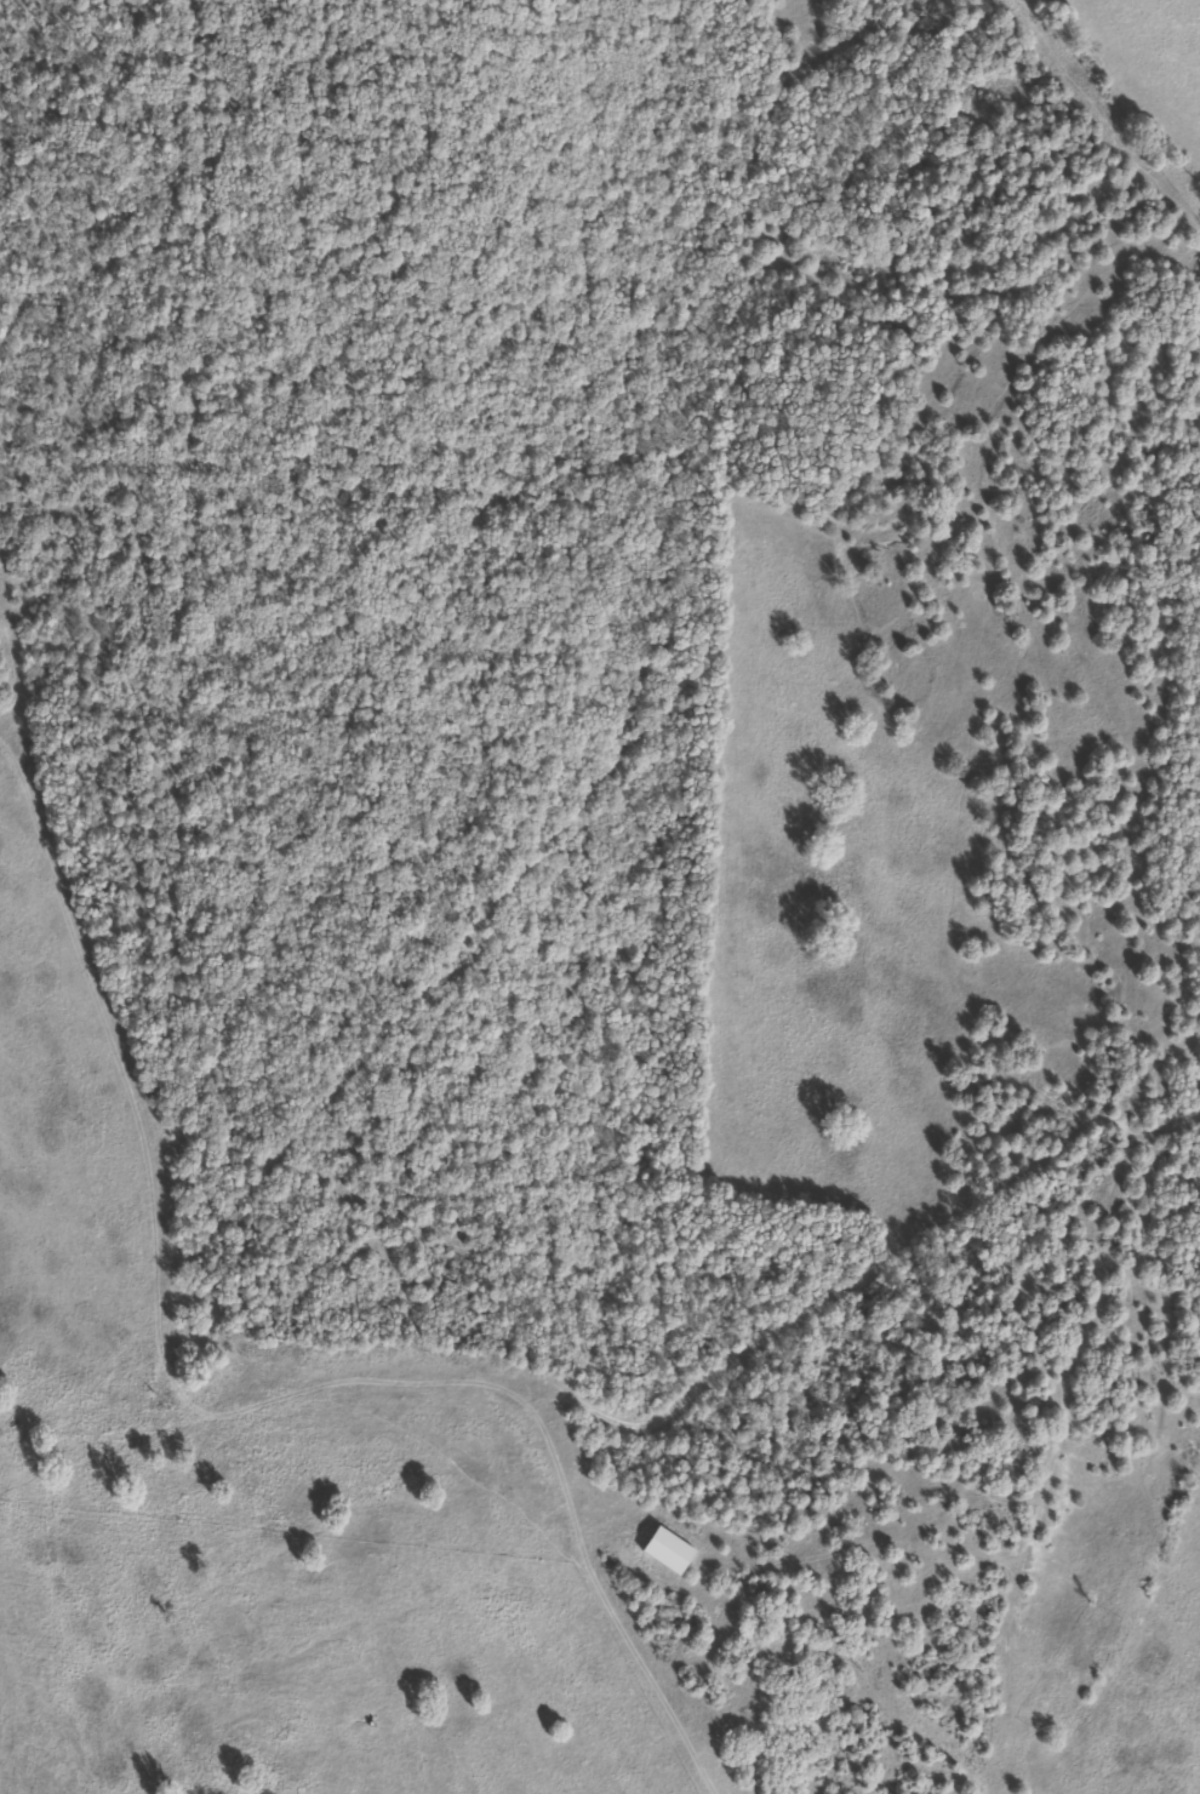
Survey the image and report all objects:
building: (662, 1550)

